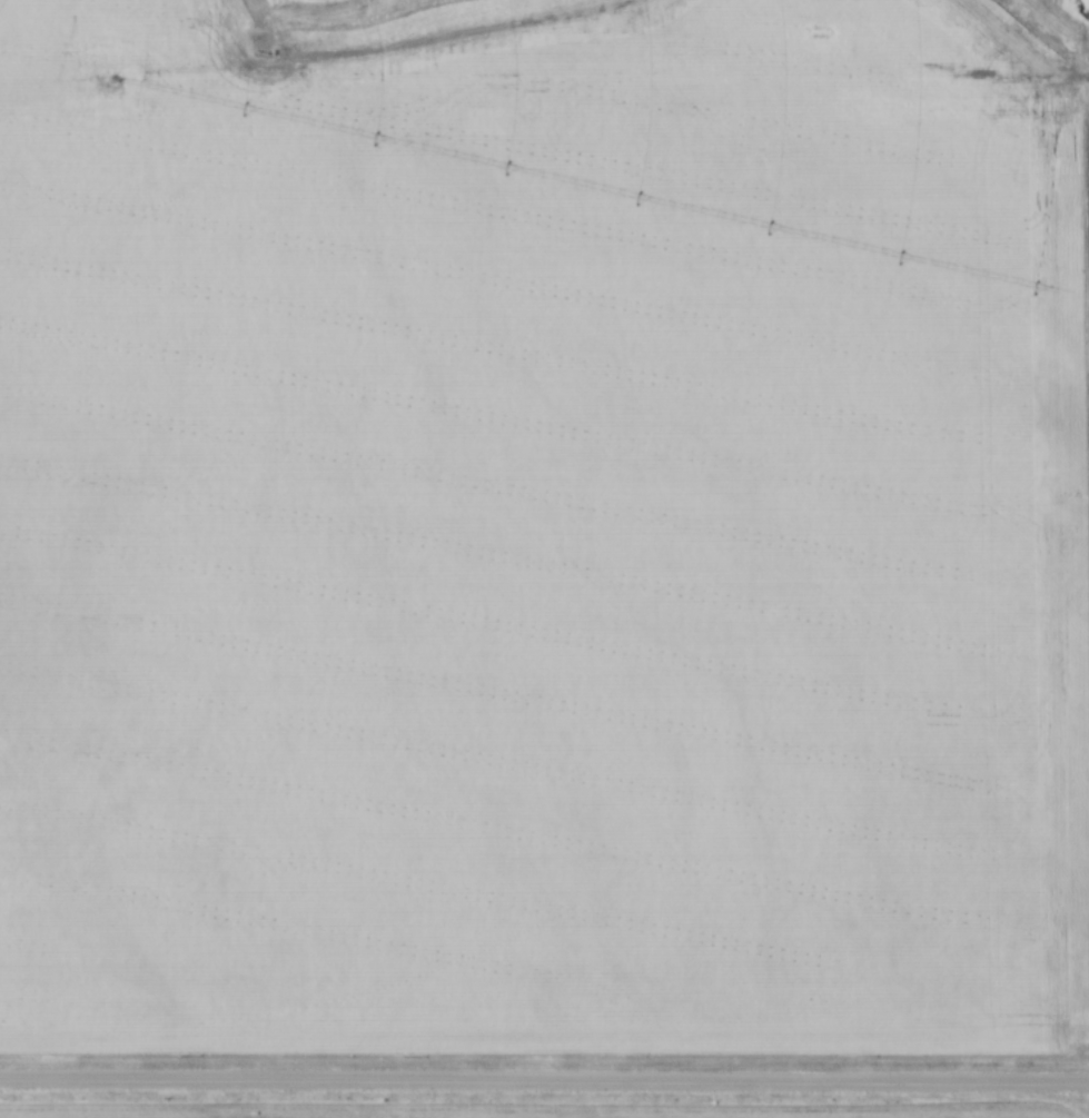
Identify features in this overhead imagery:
road: (544, 1082)

